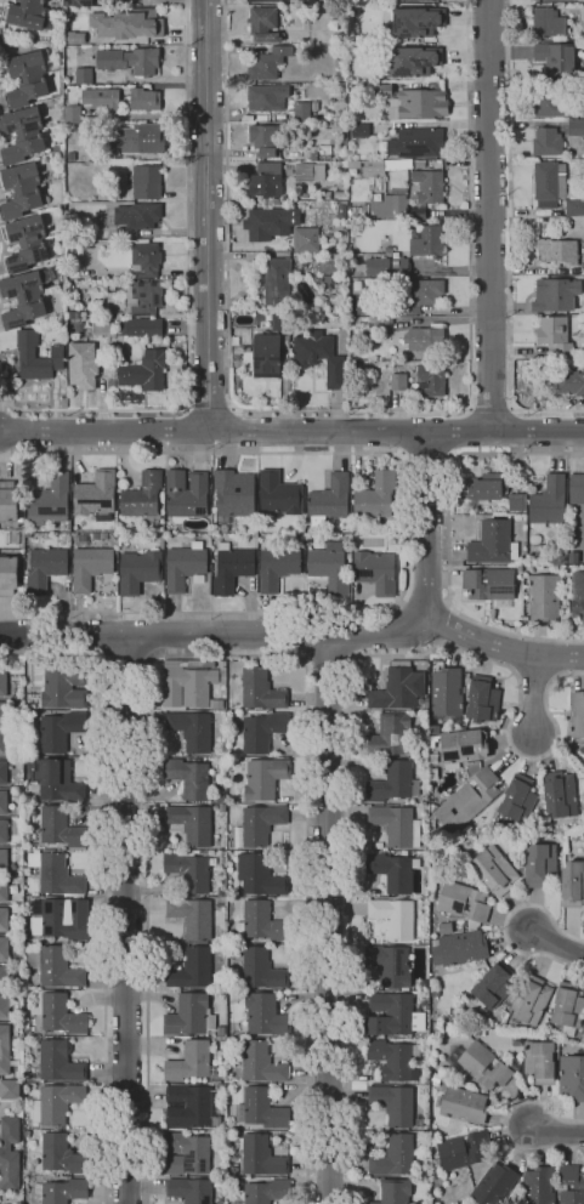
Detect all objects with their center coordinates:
building: (261, 0)
building: (413, 0)
building: (76, 2)
building: (27, 16)
building: (416, 22)
building: (124, 23)
building: (262, 24)
building: (551, 24)
building: (338, 28)
building: (338, 56)
building: (69, 58)
building: (554, 59)
building: (129, 61)
building: (413, 61)
building: (267, 63)
building: (340, 68)
building: (25, 78)
building: (112, 85)
building: (118, 85)
building: (583, 87)
building: (266, 97)
building: (101, 98)
building: (143, 100)
building: (413, 102)
building: (539, 106)
building: (578, 110)
building: (72, 113)
building: (300, 113)
road: (143, 117)
building: (576, 127)
building: (22, 135)
building: (137, 138)
building: (266, 140)
building: (344, 142)
building: (546, 142)
building: (415, 143)
building: (56, 148)
building: (70, 157)
building: (312, 157)
building: (353, 164)
building: (419, 164)
building: (385, 166)
building: (308, 172)
building: (340, 181)
building: (146, 182)
building: (548, 183)
building: (265, 184)
building: (19, 191)
building: (325, 195)
building: (339, 195)
road: (469, 198)
road: (509, 198)
building: (403, 199)
road: (187, 201)
building: (573, 208)
building: (341, 211)
road: (205, 215)
road: (487, 215)
building: (134, 218)
building: (268, 223)
building: (304, 239)
building: (425, 239)
building: (25, 243)
building: (387, 250)
building: (557, 250)
building: (143, 259)
road: (226, 261)
building: (329, 263)
building: (399, 266)
building: (374, 267)
building: (49, 274)
building: (327, 282)
building: (272, 283)
building: (357, 286)
building: (554, 294)
building: (419, 296)
building: (144, 297)
building: (23, 299)
building: (364, 307)
building: (100, 313)
building: (75, 314)
building: (384, 323)
building: (69, 324)
building: (79, 325)
building: (101, 326)
building: (135, 331)
building: (556, 339)
building: (423, 340)
building: (312, 348)
building: (25, 352)
building: (267, 356)
building: (81, 364)
building: (143, 371)
building: (335, 373)
building: (430, 380)
building: (397, 381)
building: (568, 382)
road: (489, 397)
road: (210, 403)
road: (34, 410)
road: (409, 410)
road: (543, 411)
road: (131, 413)
road: (471, 425)
road: (510, 425)
road: (188, 427)
road: (214, 431)
road: (236, 431)
road: (506, 432)
road: (12, 453)
road: (426, 458)
building: (482, 487)
building: (522, 488)
building: (576, 488)
building: (233, 494)
building: (96, 495)
building: (186, 495)
building: (278, 495)
building: (142, 496)
building: (378, 498)
building: (328, 500)
building: (7, 501)
building: (49, 501)
building: (548, 501)
building: (516, 502)
road: (427, 526)
road: (407, 529)
building: (98, 535)
road: (446, 536)
building: (81, 539)
building: (491, 543)
building: (161, 544)
building: (91, 566)
building: (183, 566)
building: (277, 567)
building: (231, 568)
building: (330, 568)
building: (44, 569)
building: (138, 570)
building: (374, 572)
building: (7, 575)
building: (488, 586)
road: (424, 594)
building: (577, 596)
building: (543, 597)
road: (442, 624)
road: (396, 630)
road: (163, 636)
road: (376, 637)
road: (501, 648)
road: (226, 655)
road: (125, 658)
road: (327, 658)
building: (2, 685)
building: (61, 685)
building: (188, 685)
building: (397, 687)
building: (259, 689)
building: (446, 695)
road: (533, 697)
building: (482, 700)
building: (2, 714)
building: (577, 715)
building: (59, 729)
building: (191, 731)
building: (262, 731)
building: (389, 736)
building: (4, 743)
road: (509, 743)
building: (461, 746)
building: (2, 772)
building: (188, 776)
building: (28, 778)
building: (263, 778)
building: (56, 780)
building: (392, 783)
building: (559, 794)
building: (517, 799)
building: (467, 800)
building: (2, 801)
building: (192, 823)
building: (260, 824)
building: (396, 825)
building: (59, 829)
building: (4, 830)
building: (4, 861)
building: (540, 865)
building: (188, 868)
building: (392, 870)
building: (494, 871)
building: (55, 874)
building: (259, 874)
road: (104, 879)
building: (572, 885)
road: (350, 888)
building: (4, 890)
building: (463, 902)
building: (393, 916)
building: (192, 918)
building: (2, 919)
building: (61, 919)
road: (125, 920)
road: (329, 920)
building: (262, 922)
road: (506, 924)
road: (555, 944)
building: (2, 947)
building: (463, 948)
building: (389, 965)
building: (57, 969)
building: (193, 969)
building: (261, 969)
building: (2, 976)
building: (492, 987)
building: (531, 1000)
building: (509, 1001)
building: (2, 1005)
building: (567, 1009)
building: (389, 1013)
building: (61, 1015)
building: (189, 1015)
building: (263, 1015)
building: (470, 1028)
building: (221, 1030)
building: (4, 1049)
building: (393, 1058)
building: (57, 1061)
building: (540, 1061)
building: (191, 1062)
building: (260, 1062)
building: (480, 1064)
building: (571, 1078)
building: (8, 1087)
building: (56, 1103)
building: (393, 1103)
building: (461, 1104)
building: (189, 1107)
building: (261, 1109)
road: (506, 1123)
building: (223, 1125)
road: (554, 1132)
building: (27, 1134)
building: (464, 1149)
building: (8, 1152)
building: (186, 1153)
building: (63, 1154)
building: (260, 1154)
building: (396, 1154)
building: (435, 1164)
building: (494, 1183)
building: (539, 1185)
building: (578, 1187)
building: (189, 1189)
building: (61, 1191)
building: (263, 1192)
building: (395, 1192)

